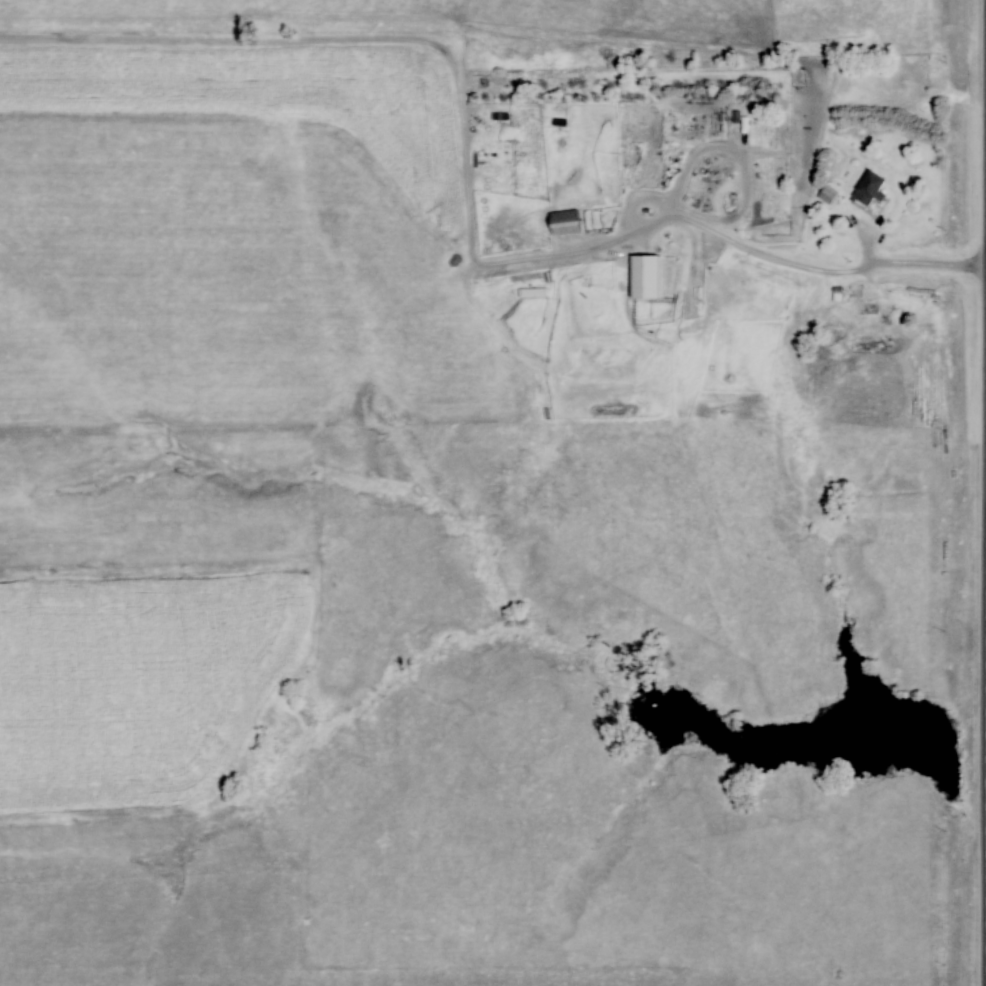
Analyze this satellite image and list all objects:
building: (869, 189)
building: (829, 195)
building: (567, 222)
road: (811, 267)
building: (646, 277)

